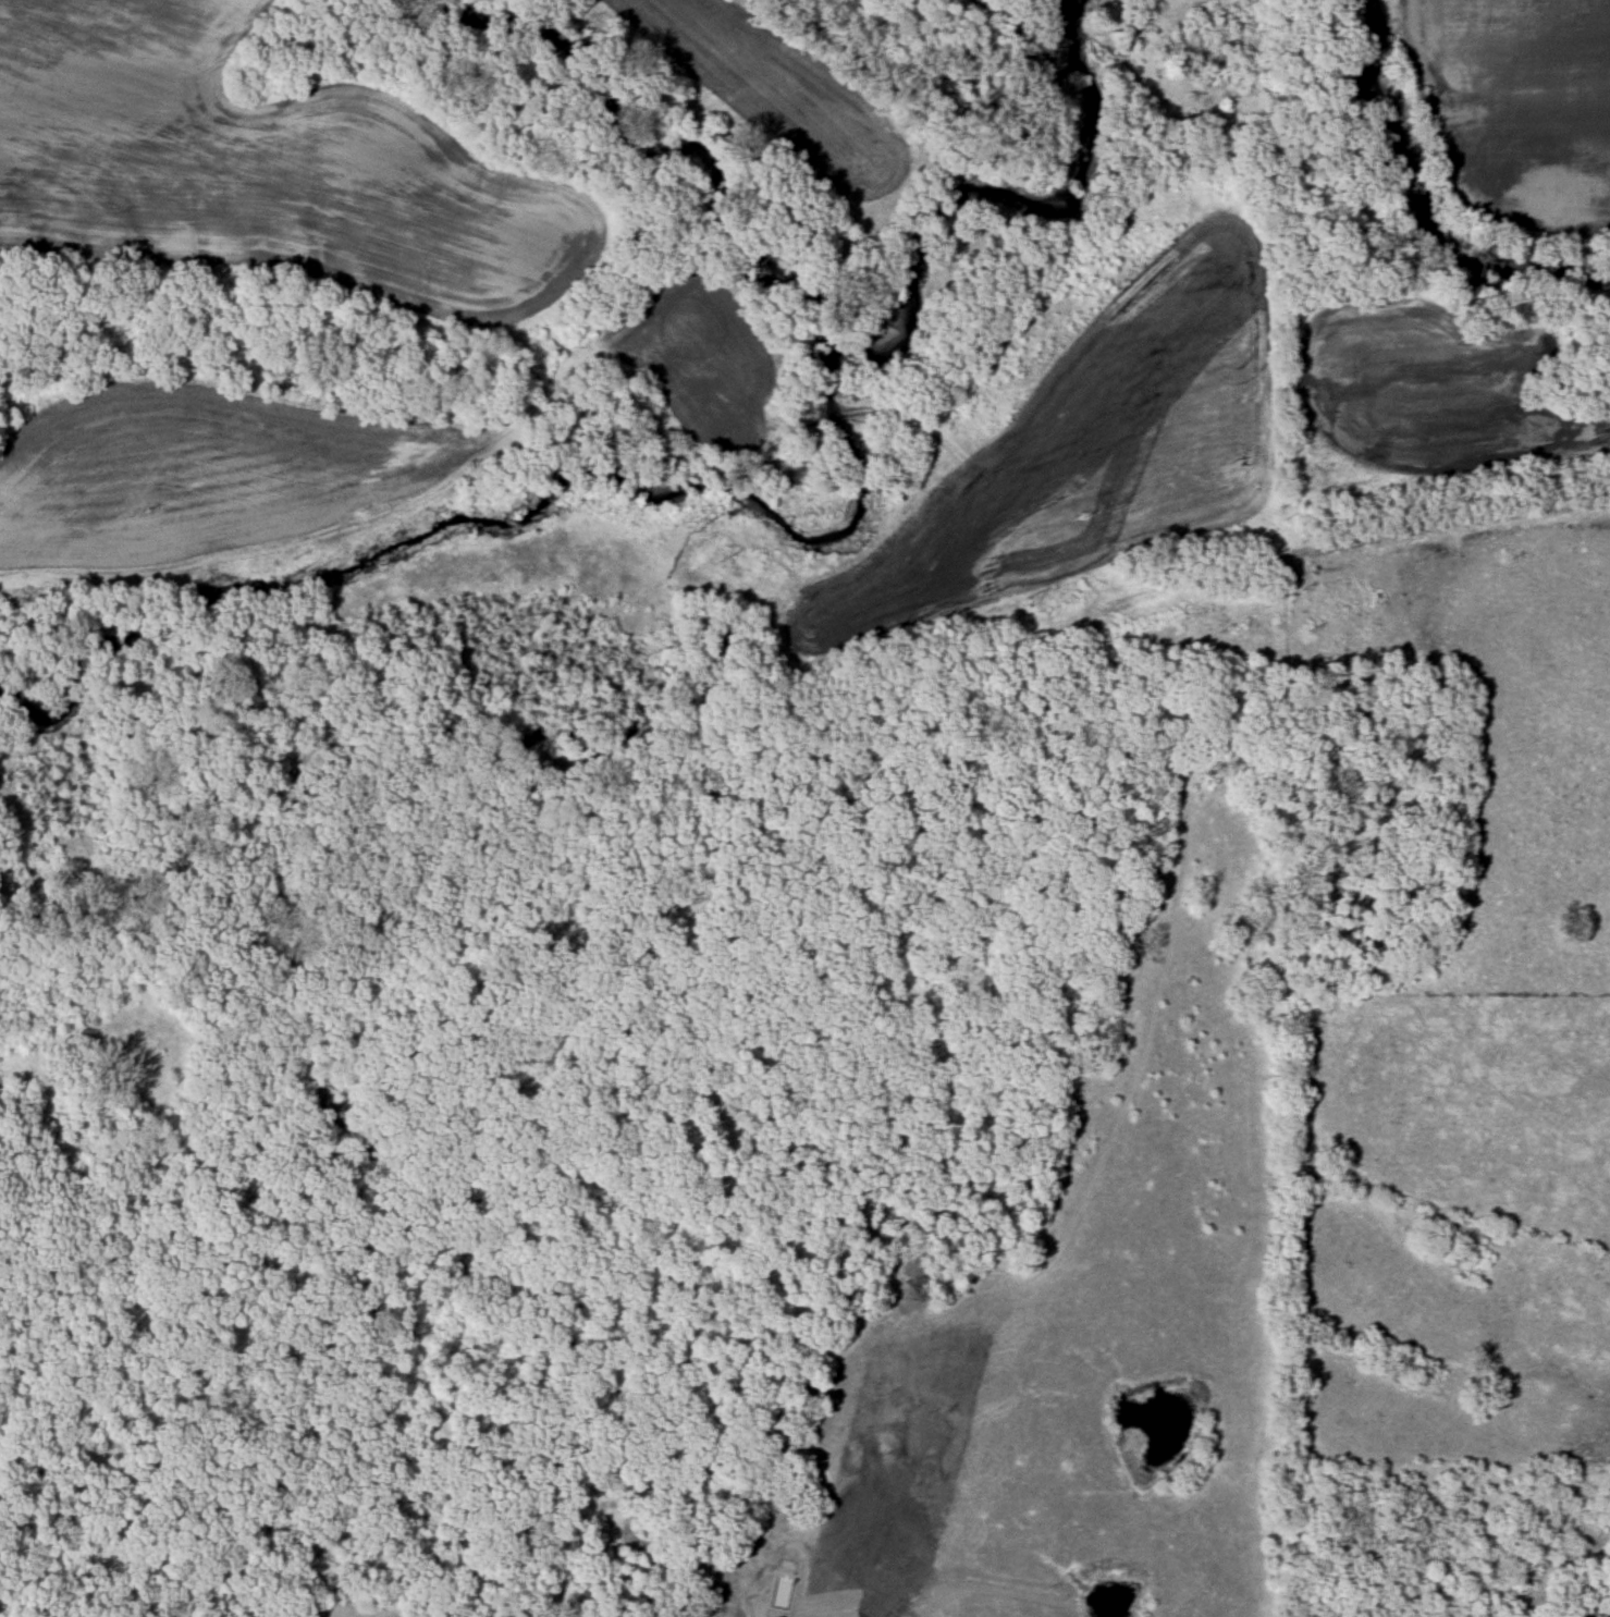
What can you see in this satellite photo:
river: (1406, 217)
river: (848, 417)

